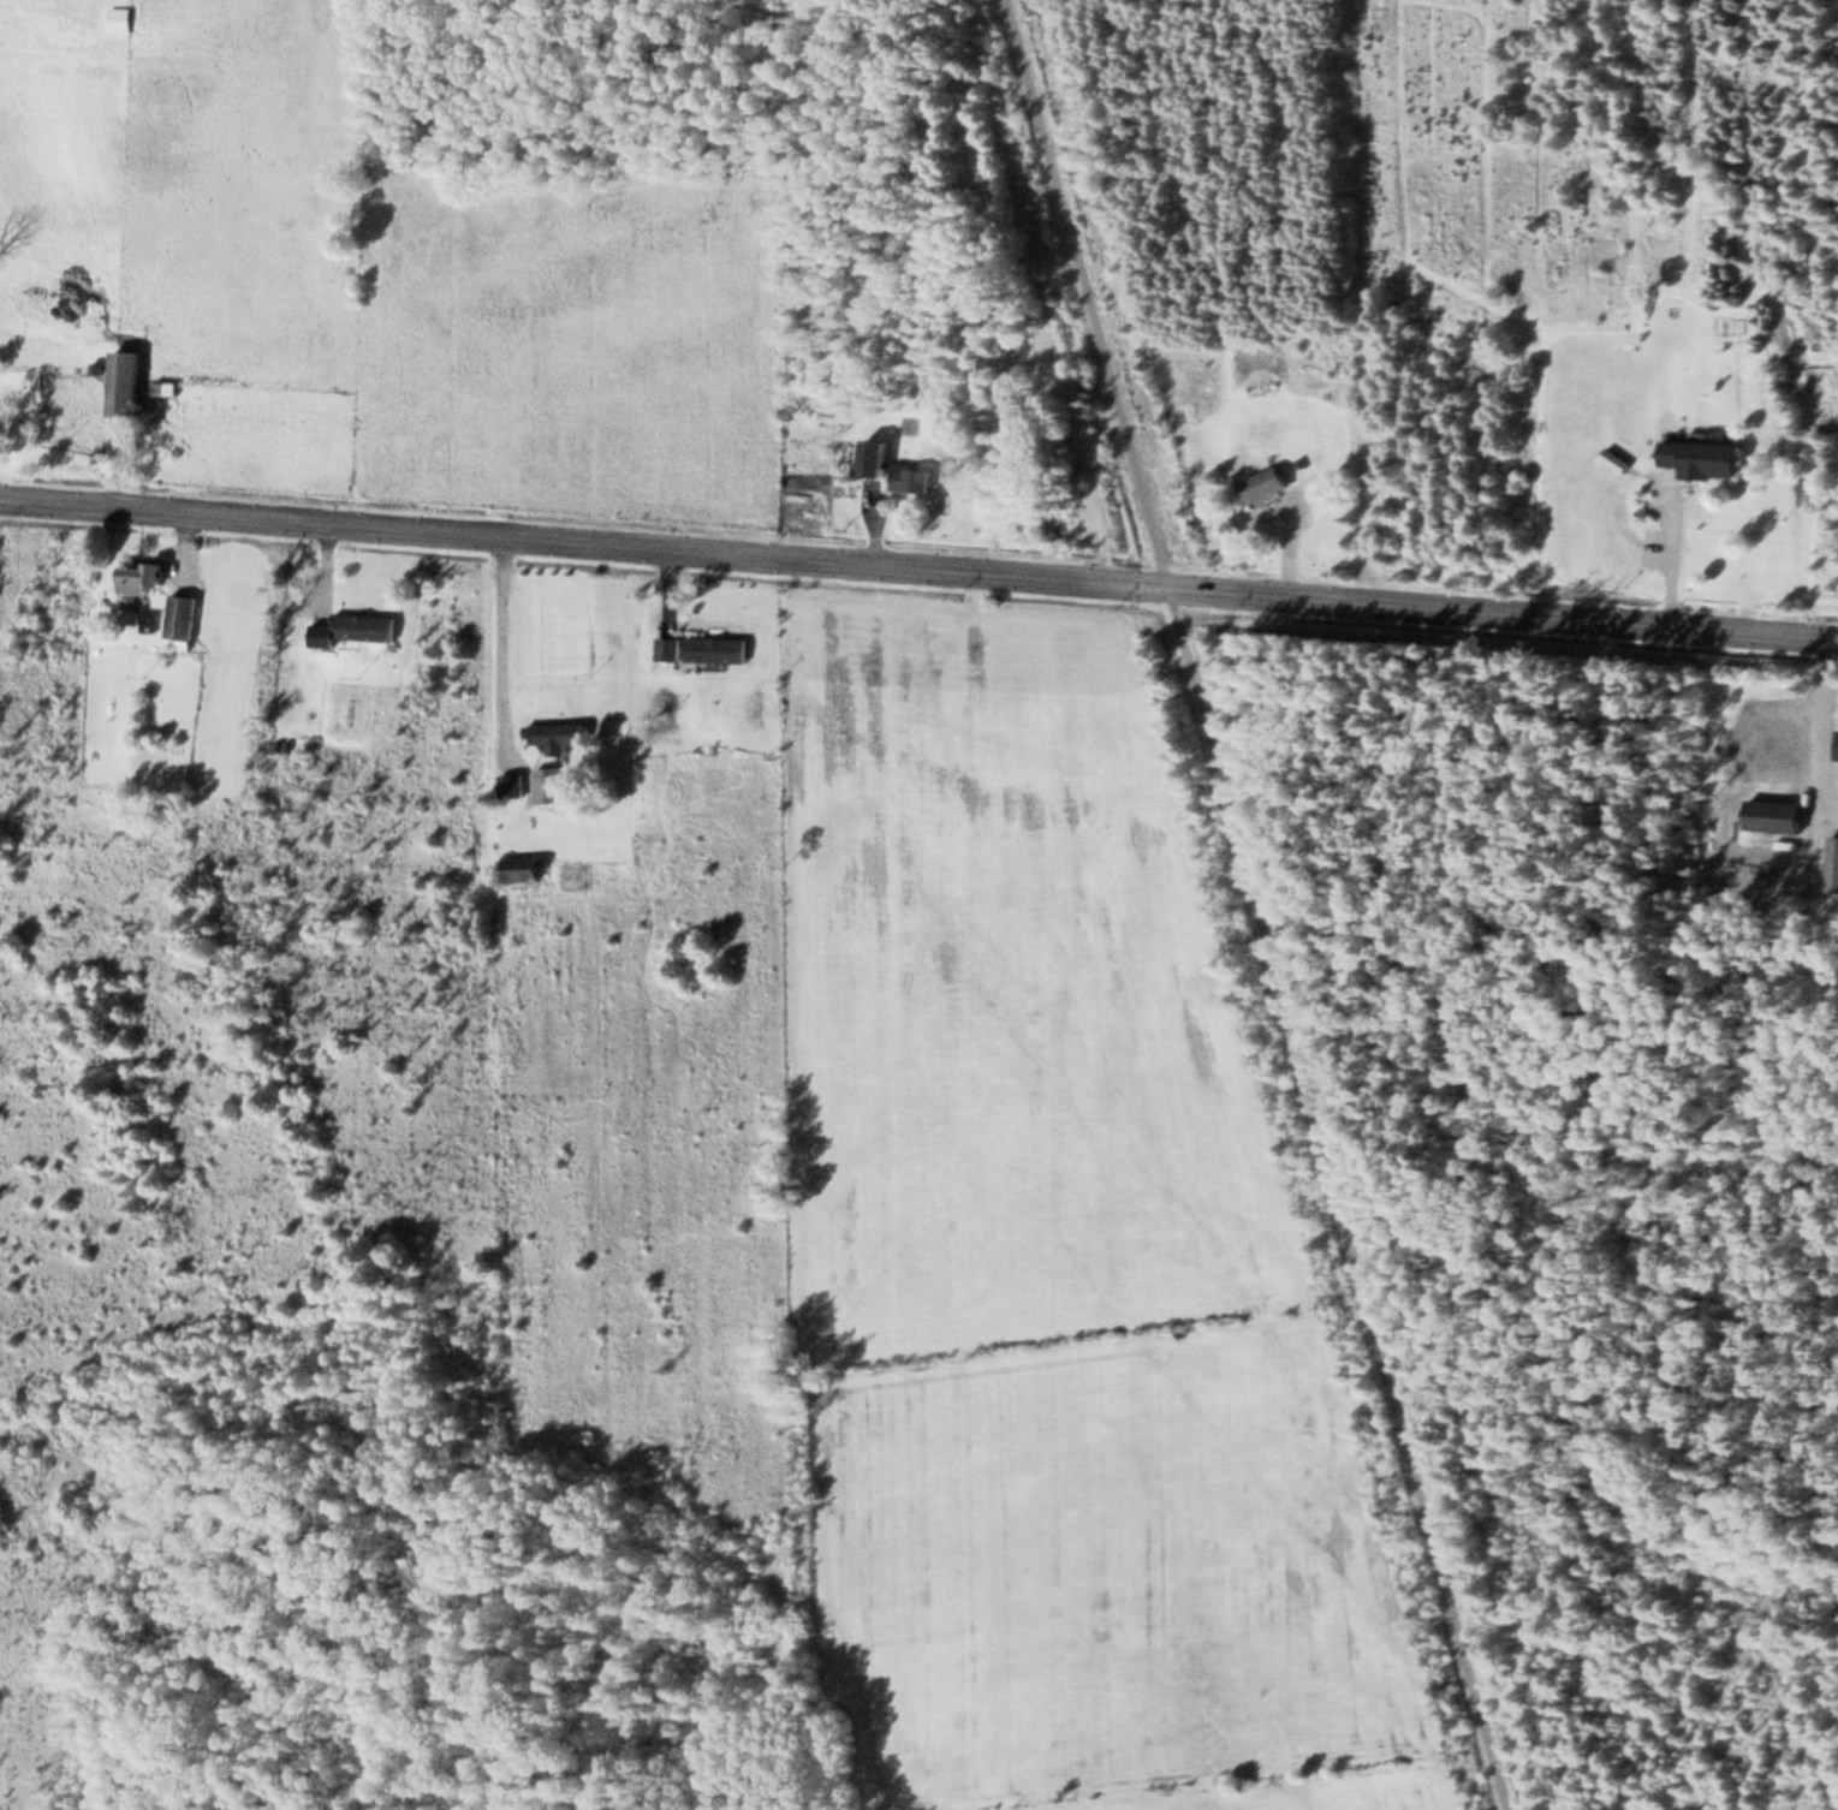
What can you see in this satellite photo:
building: (115, 18)
building: (123, 381)
building: (872, 457)
building: (1702, 457)
building: (908, 477)
building: (1262, 483)
road: (918, 564)
building: (137, 578)
building: (178, 621)
building: (144, 624)
building: (350, 629)
building: (697, 648)
building: (553, 736)
building: (1834, 745)
building: (547, 784)
building: (507, 785)
building: (1772, 815)
building: (1831, 864)
building: (521, 868)
road: (1256, 904)

